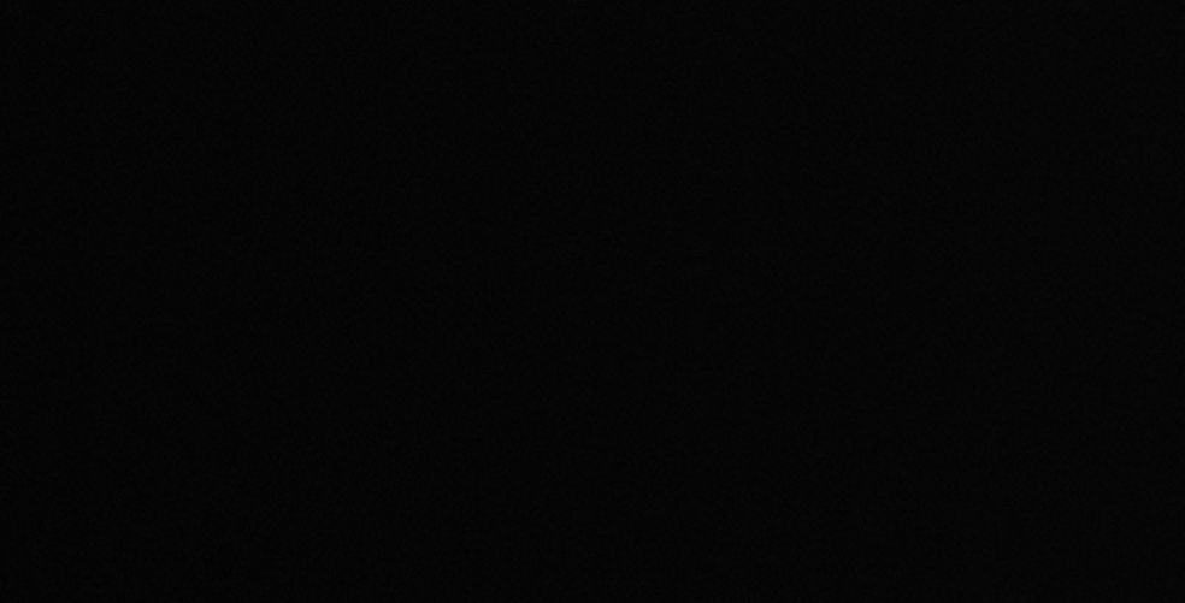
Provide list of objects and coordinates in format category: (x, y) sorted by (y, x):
river: (1010, 203)

